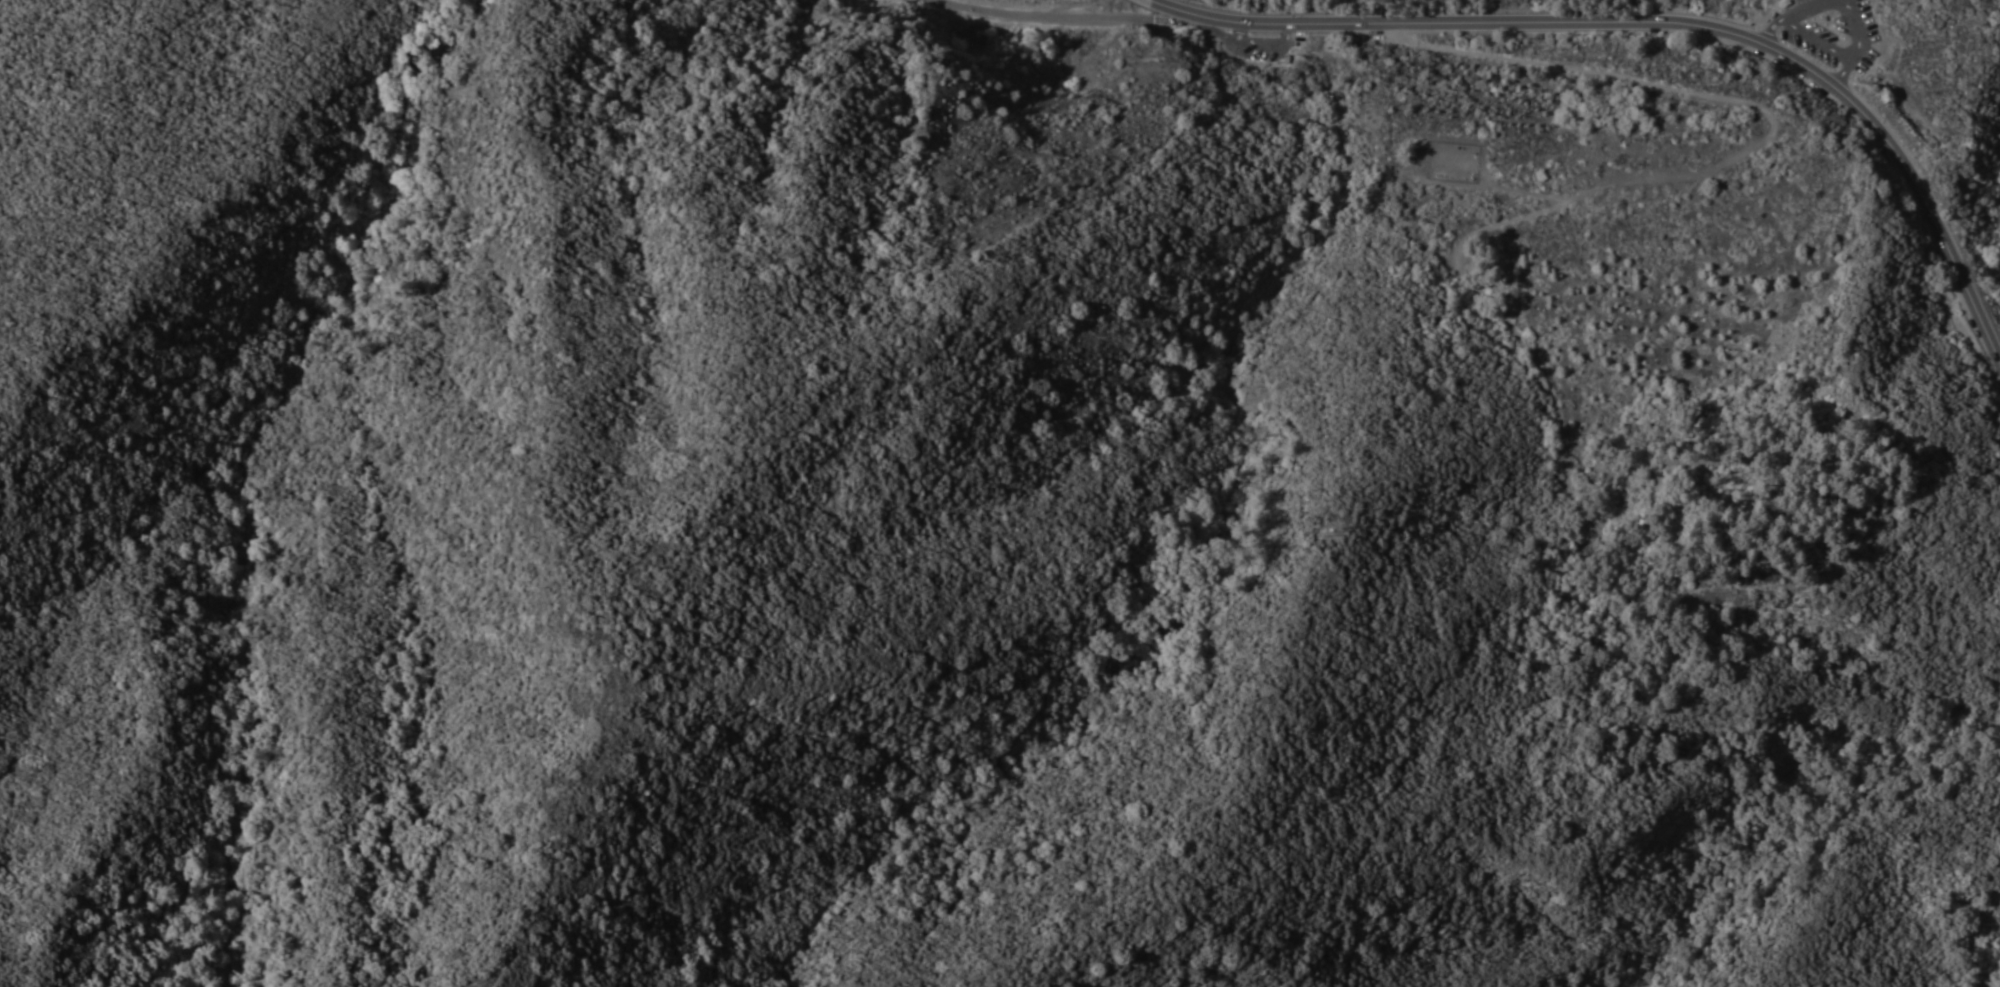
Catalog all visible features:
road: (1150, 1)
road: (1791, 14)
road: (1659, 21)
road: (1060, 26)
road: (1219, 34)
parking lot: (1830, 34)
road: (1814, 40)
parking lot: (1252, 42)
road: (1854, 43)
road: (1264, 46)
road: (1420, 144)
road: (1660, 152)
road: (1538, 192)
road: (1539, 375)
road: (1972, 934)

